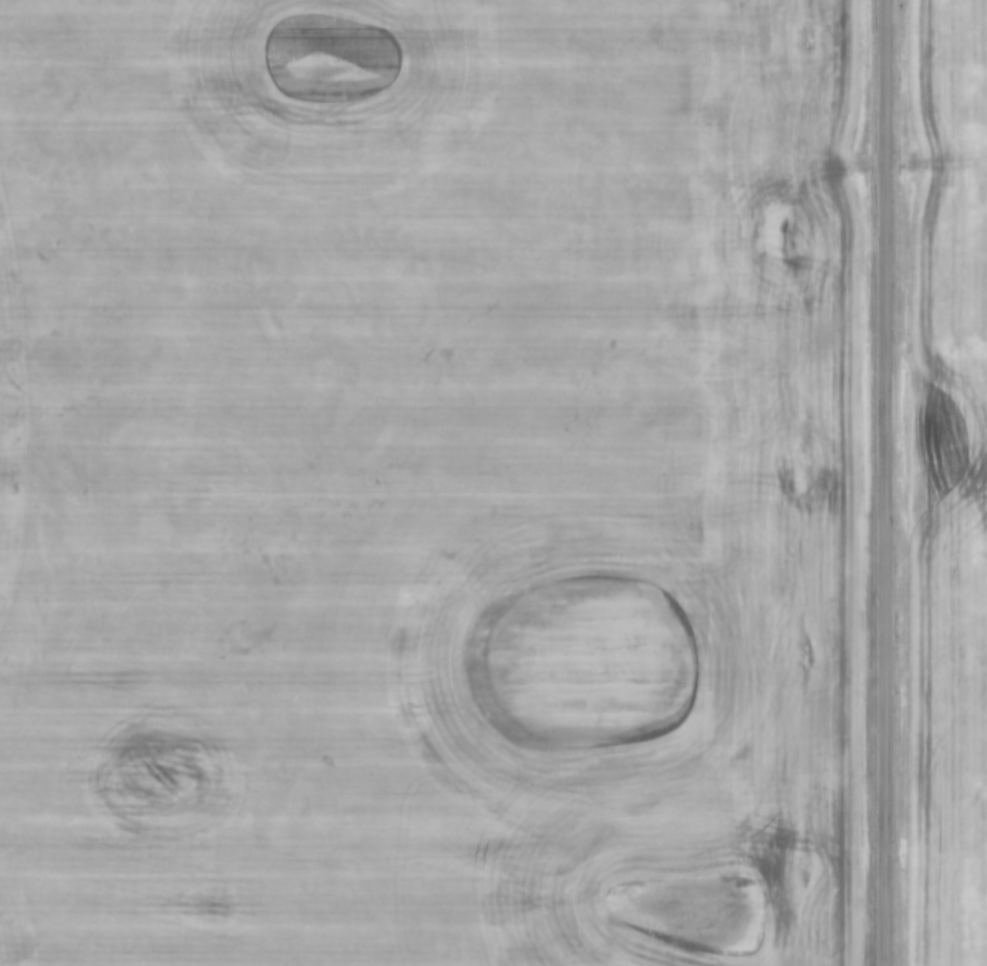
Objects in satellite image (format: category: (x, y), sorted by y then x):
road: (883, 483)

